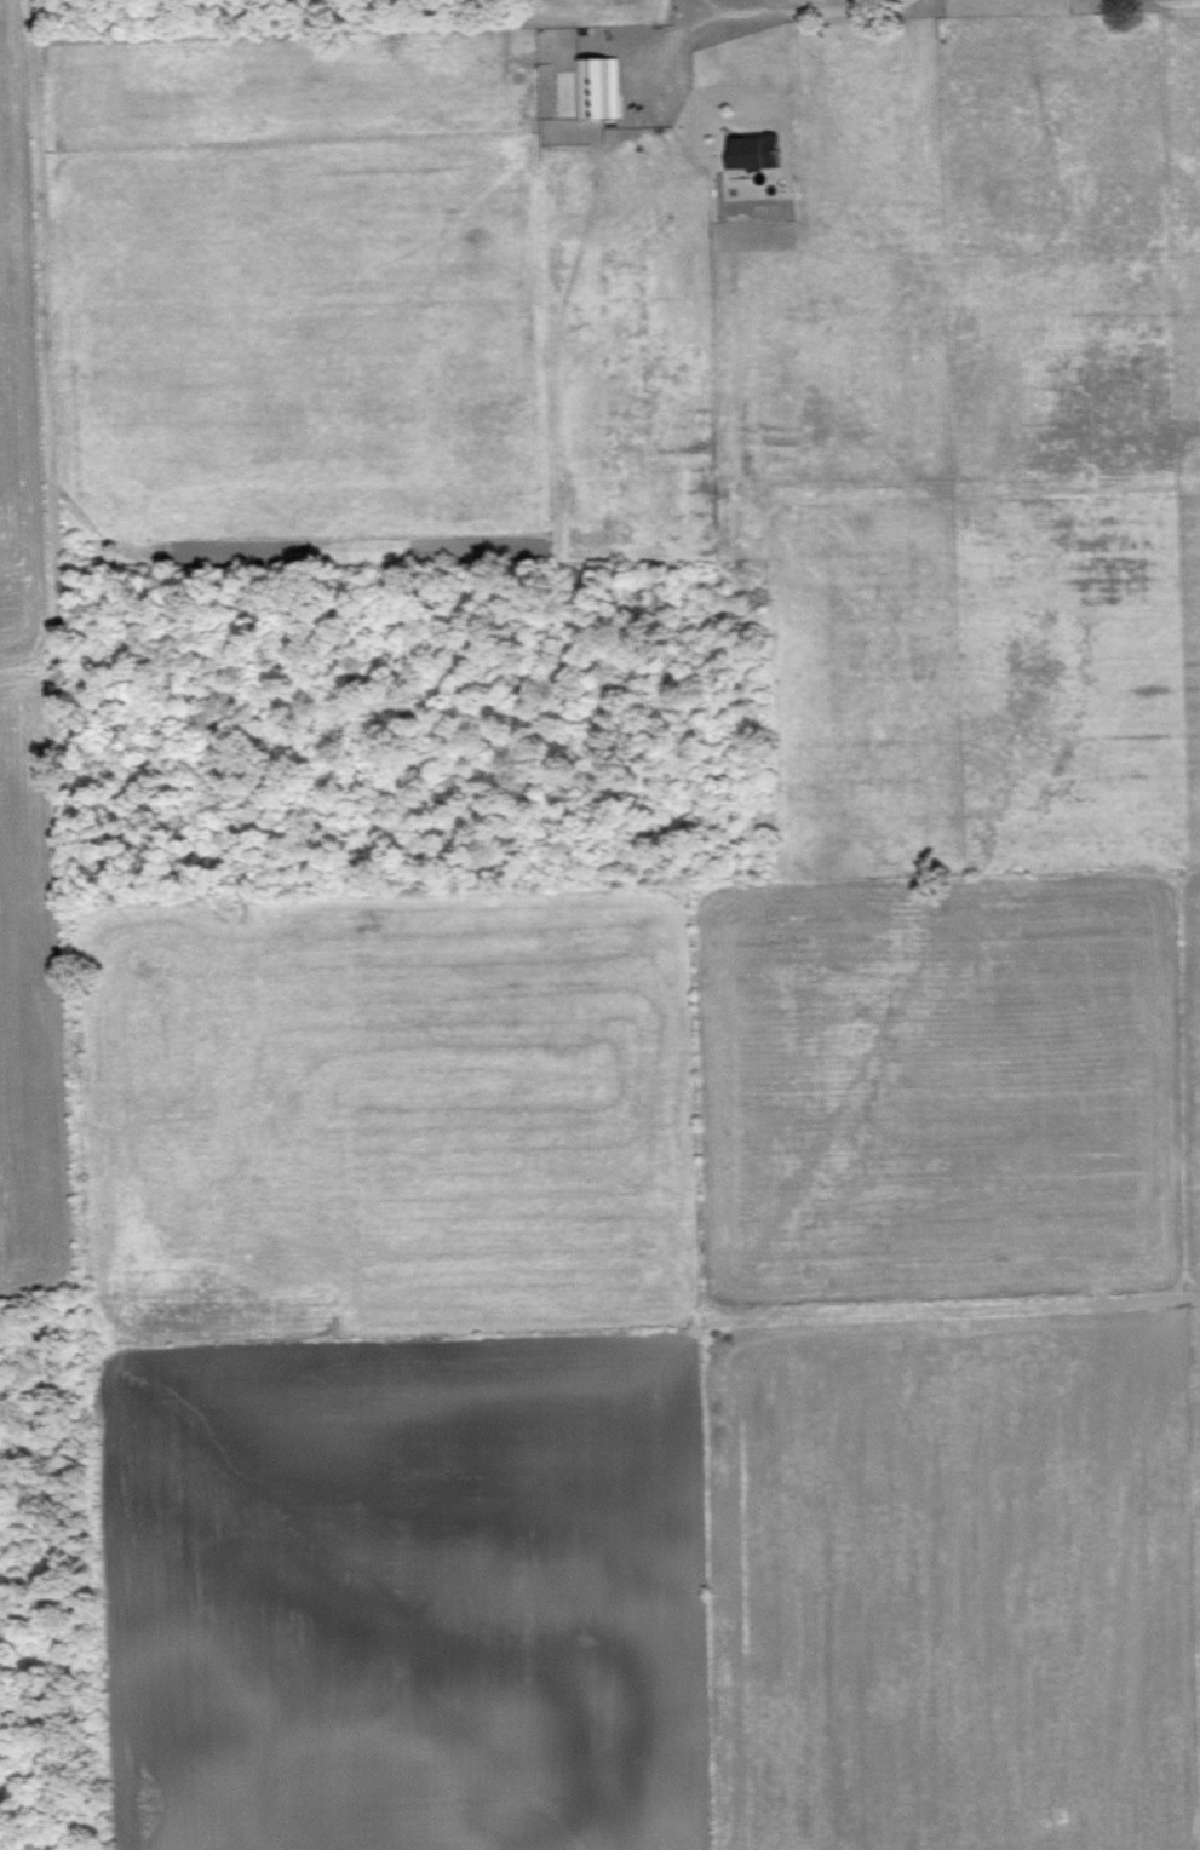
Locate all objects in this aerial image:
road: (770, 11)
building: (599, 87)
building: (756, 150)

